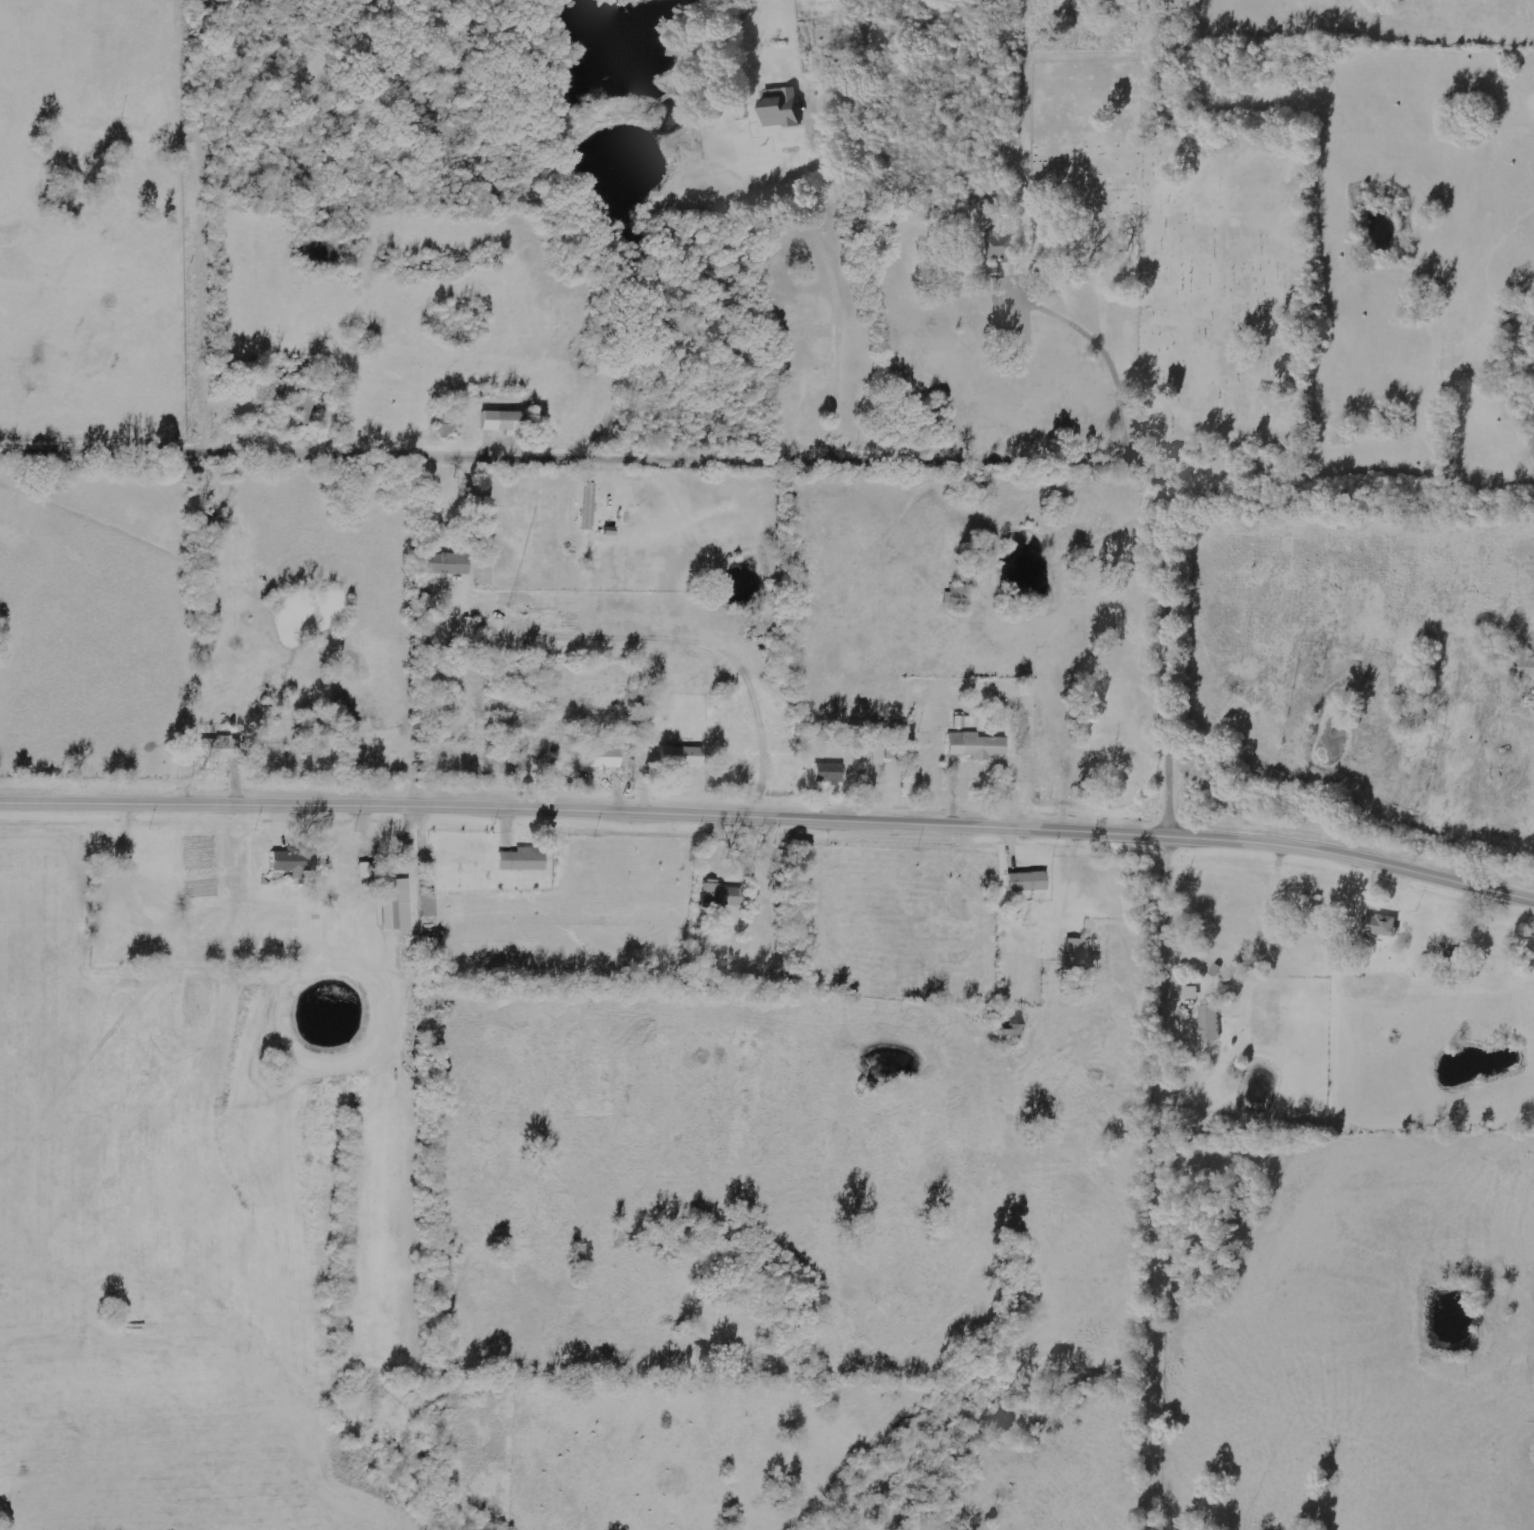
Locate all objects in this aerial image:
building: (781, 110)
road: (214, 233)
road: (860, 235)
building: (1001, 241)
park: (1203, 295)
road: (1084, 364)
building: (442, 424)
road: (1101, 475)
building: (588, 507)
building: (446, 563)
building: (957, 597)
building: (500, 623)
building: (1523, 666)
building: (961, 722)
building: (974, 746)
building: (218, 749)
building: (680, 757)
building: (605, 758)
building: (826, 773)
road: (770, 814)
building: (520, 860)
building: (291, 864)
building: (364, 870)
building: (1025, 882)
building: (720, 896)
building: (393, 901)
building: (426, 906)
building: (1379, 925)
building: (1073, 948)
building: (1208, 1020)
building: (1009, 1032)

